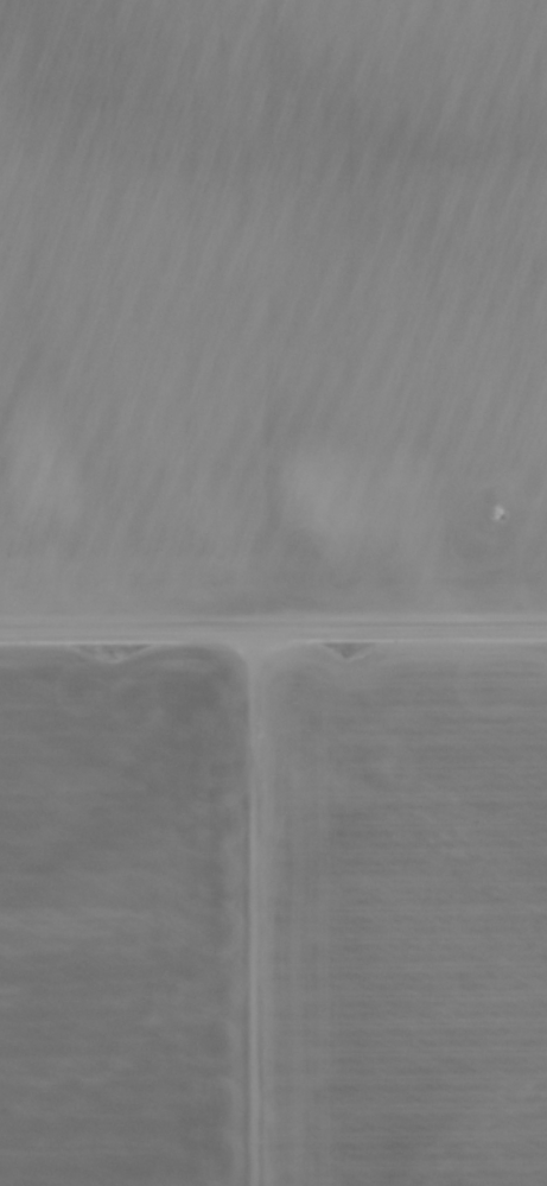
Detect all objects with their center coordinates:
crop: (273, 305)
road: (273, 628)
crop: (273, 917)

